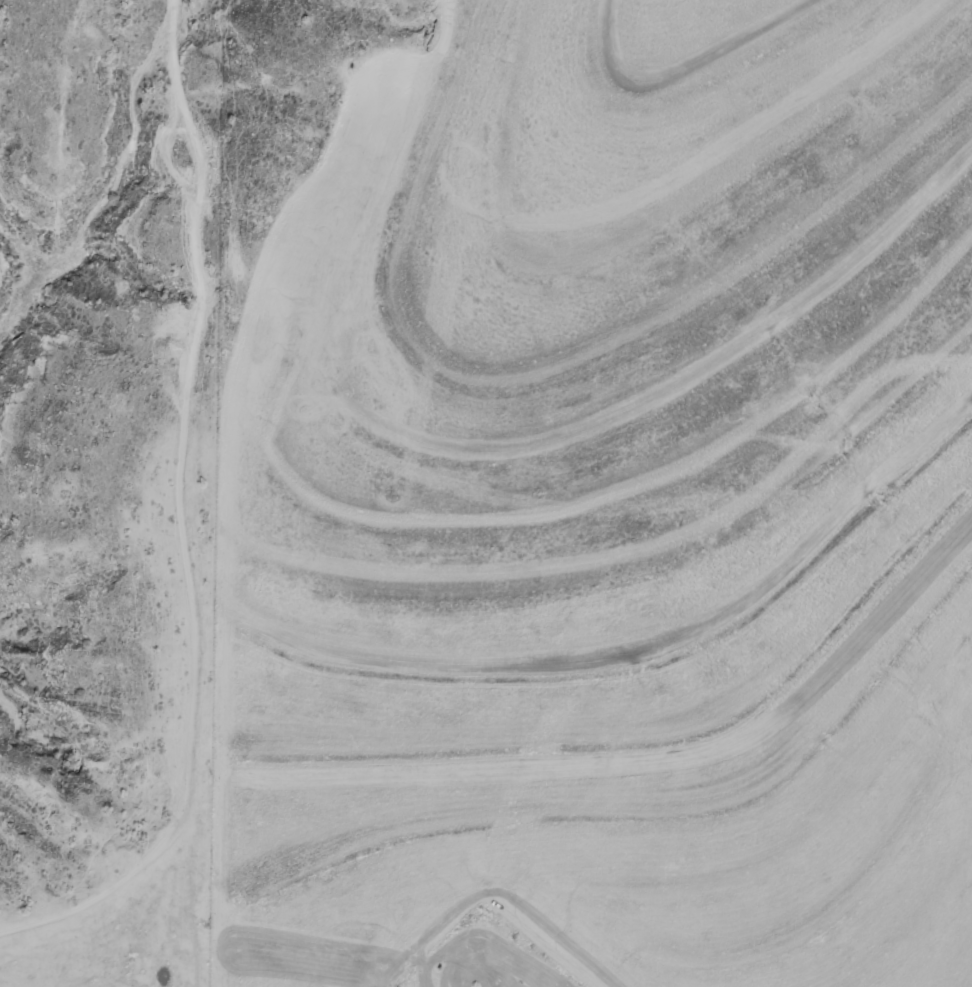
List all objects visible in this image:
road: (182, 514)

